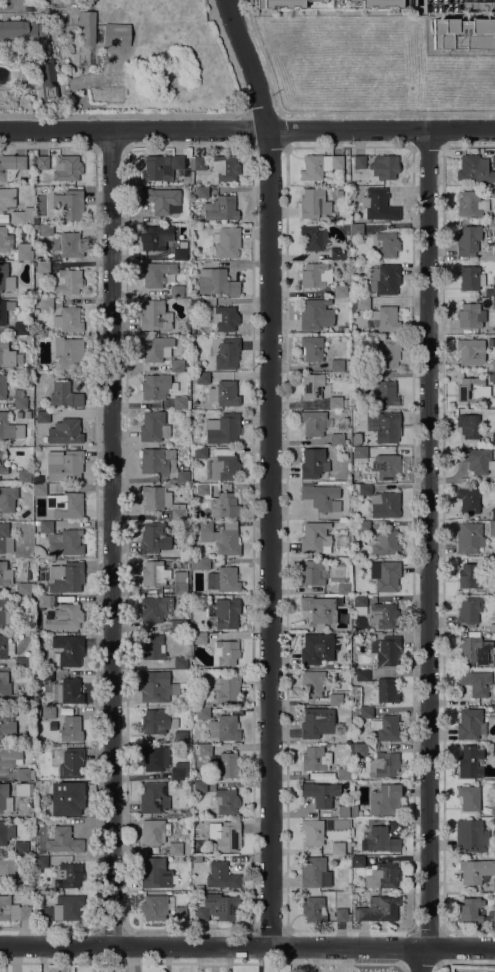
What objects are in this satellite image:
building: (334, 4)
building: (87, 27)
building: (18, 32)
building: (463, 34)
building: (116, 35)
road: (231, 64)
building: (46, 80)
road: (122, 115)
road: (247, 130)
building: (51, 152)
building: (42, 162)
building: (493, 162)
building: (200, 163)
building: (359, 163)
building: (11, 166)
building: (319, 166)
building: (68, 167)
building: (160, 167)
building: (385, 167)
building: (222, 169)
building: (473, 169)
building: (185, 180)
building: (367, 183)
building: (493, 192)
building: (201, 193)
building: (339, 193)
building: (7, 199)
building: (162, 200)
building: (69, 204)
building: (314, 204)
building: (471, 204)
building: (379, 206)
building: (221, 209)
building: (22, 215)
building: (493, 220)
building: (491, 226)
building: (44, 229)
building: (356, 230)
building: (313, 238)
building: (153, 239)
building: (5, 240)
building: (467, 240)
building: (227, 243)
building: (70, 245)
building: (384, 245)
building: (23, 254)
building: (180, 254)
building: (337, 254)
building: (487, 254)
building: (156, 273)
building: (316, 275)
building: (62, 277)
building: (5, 278)
building: (470, 278)
building: (385, 280)
building: (216, 282)
building: (177, 291)
building: (339, 291)
building: (490, 291)
building: (46, 304)
building: (196, 304)
building: (360, 304)
building: (493, 304)
building: (315, 315)
building: (155, 316)
building: (470, 316)
building: (2, 318)
building: (225, 318)
building: (386, 319)
building: (69, 320)
building: (20, 328)
building: (490, 341)
building: (156, 348)
building: (312, 349)
building: (470, 352)
building: (69, 353)
building: (386, 353)
building: (6, 354)
building: (228, 354)
building: (176, 365)
building: (337, 365)
building: (493, 365)
building: (203, 378)
building: (362, 378)
building: (493, 378)
building: (312, 385)
building: (3, 387)
building: (157, 387)
building: (472, 390)
building: (387, 393)
building: (224, 394)
building: (65, 395)
building: (19, 400)
building: (181, 403)
building: (335, 403)
building: (346, 406)
building: (19, 415)
building: (28, 415)
building: (42, 417)
building: (313, 423)
building: (468, 426)
building: (154, 427)
building: (385, 427)
building: (9, 428)
building: (223, 429)
building: (65, 432)
building: (493, 439)
building: (337, 440)
building: (186, 441)
building: (200, 453)
building: (360, 453)
building: (476, 460)
building: (1, 463)
building: (161, 463)
building: (313, 463)
building: (386, 466)
building: (67, 467)
building: (224, 467)
road: (270, 470)
building: (24, 476)
building: (38, 479)
building: (40, 490)
building: (203, 490)
building: (364, 490)
building: (155, 498)
building: (322, 498)
building: (7, 499)
building: (468, 501)
building: (66, 505)
building: (385, 505)
building: (224, 506)
building: (178, 514)
building: (493, 514)
building: (486, 515)
building: (46, 527)
building: (363, 527)
building: (491, 529)
building: (221, 537)
road: (113, 538)
building: (153, 538)
building: (315, 538)
building: (5, 539)
building: (469, 539)
building: (68, 543)
building: (384, 543)
road: (428, 551)
building: (39, 552)
building: (185, 554)
building: (203, 564)
building: (493, 564)
building: (154, 573)
building: (313, 573)
building: (5, 575)
building: (385, 575)
building: (469, 576)
building: (66, 578)
building: (223, 580)
building: (180, 583)
building: (24, 588)
building: (343, 588)
building: (30, 597)
building: (180, 597)
building: (42, 600)
building: (360, 605)
building: (155, 608)
building: (322, 609)
building: (469, 612)
building: (5, 613)
building: (227, 613)
building: (384, 615)
building: (63, 618)
building: (177, 625)
building: (198, 638)
building: (5, 647)
building: (153, 648)
building: (317, 649)
building: (474, 649)
building: (68, 651)
building: (386, 651)
building: (225, 653)
building: (493, 661)
building: (21, 663)
building: (181, 663)
building: (187, 674)
building: (46, 676)
building: (362, 676)
building: (313, 683)
building: (476, 683)
building: (6, 685)
building: (156, 687)
building: (387, 690)
building: (67, 691)
building: (222, 691)
building: (338, 699)
building: (19, 700)
building: (364, 712)
building: (48, 713)
building: (203, 713)
building: (7, 722)
building: (155, 722)
building: (317, 723)
building: (469, 724)
building: (224, 728)
building: (387, 729)
building: (71, 730)
building: (180, 737)
building: (205, 750)
building: (493, 750)
building: (9, 758)
building: (155, 758)
building: (315, 759)
building: (377, 760)
building: (470, 762)
building: (72, 766)
building: (227, 767)
building: (24, 774)
building: (178, 774)
building: (343, 774)
building: (44, 787)
building: (200, 787)
building: (20, 789)
building: (320, 794)
building: (153, 798)
building: (469, 798)
building: (5, 799)
building: (67, 799)
building: (385, 800)
building: (226, 801)
building: (353, 811)
building: (342, 812)
building: (493, 812)
building: (187, 814)
building: (39, 821)
building: (494, 826)
building: (152, 832)
building: (5, 833)
building: (312, 833)
building: (224, 836)
building: (471, 837)
building: (63, 841)
building: (382, 841)
building: (21, 847)
building: (175, 849)
building: (187, 849)
building: (337, 849)
building: (196, 860)
building: (40, 862)
building: (358, 862)
building: (475, 871)
building: (10, 872)
building: (312, 872)
building: (155, 873)
building: (70, 875)
building: (221, 876)
building: (383, 876)
building: (493, 886)
building: (218, 907)
building: (156, 908)
building: (7, 909)
building: (63, 909)
building: (378, 909)
building: (312, 910)
building: (470, 910)
building: (25, 913)
building: (180, 913)
building: (342, 915)
building: (493, 919)
road: (468, 930)
road: (429, 931)
road: (247, 947)
road: (420, 961)
road: (465, 964)

